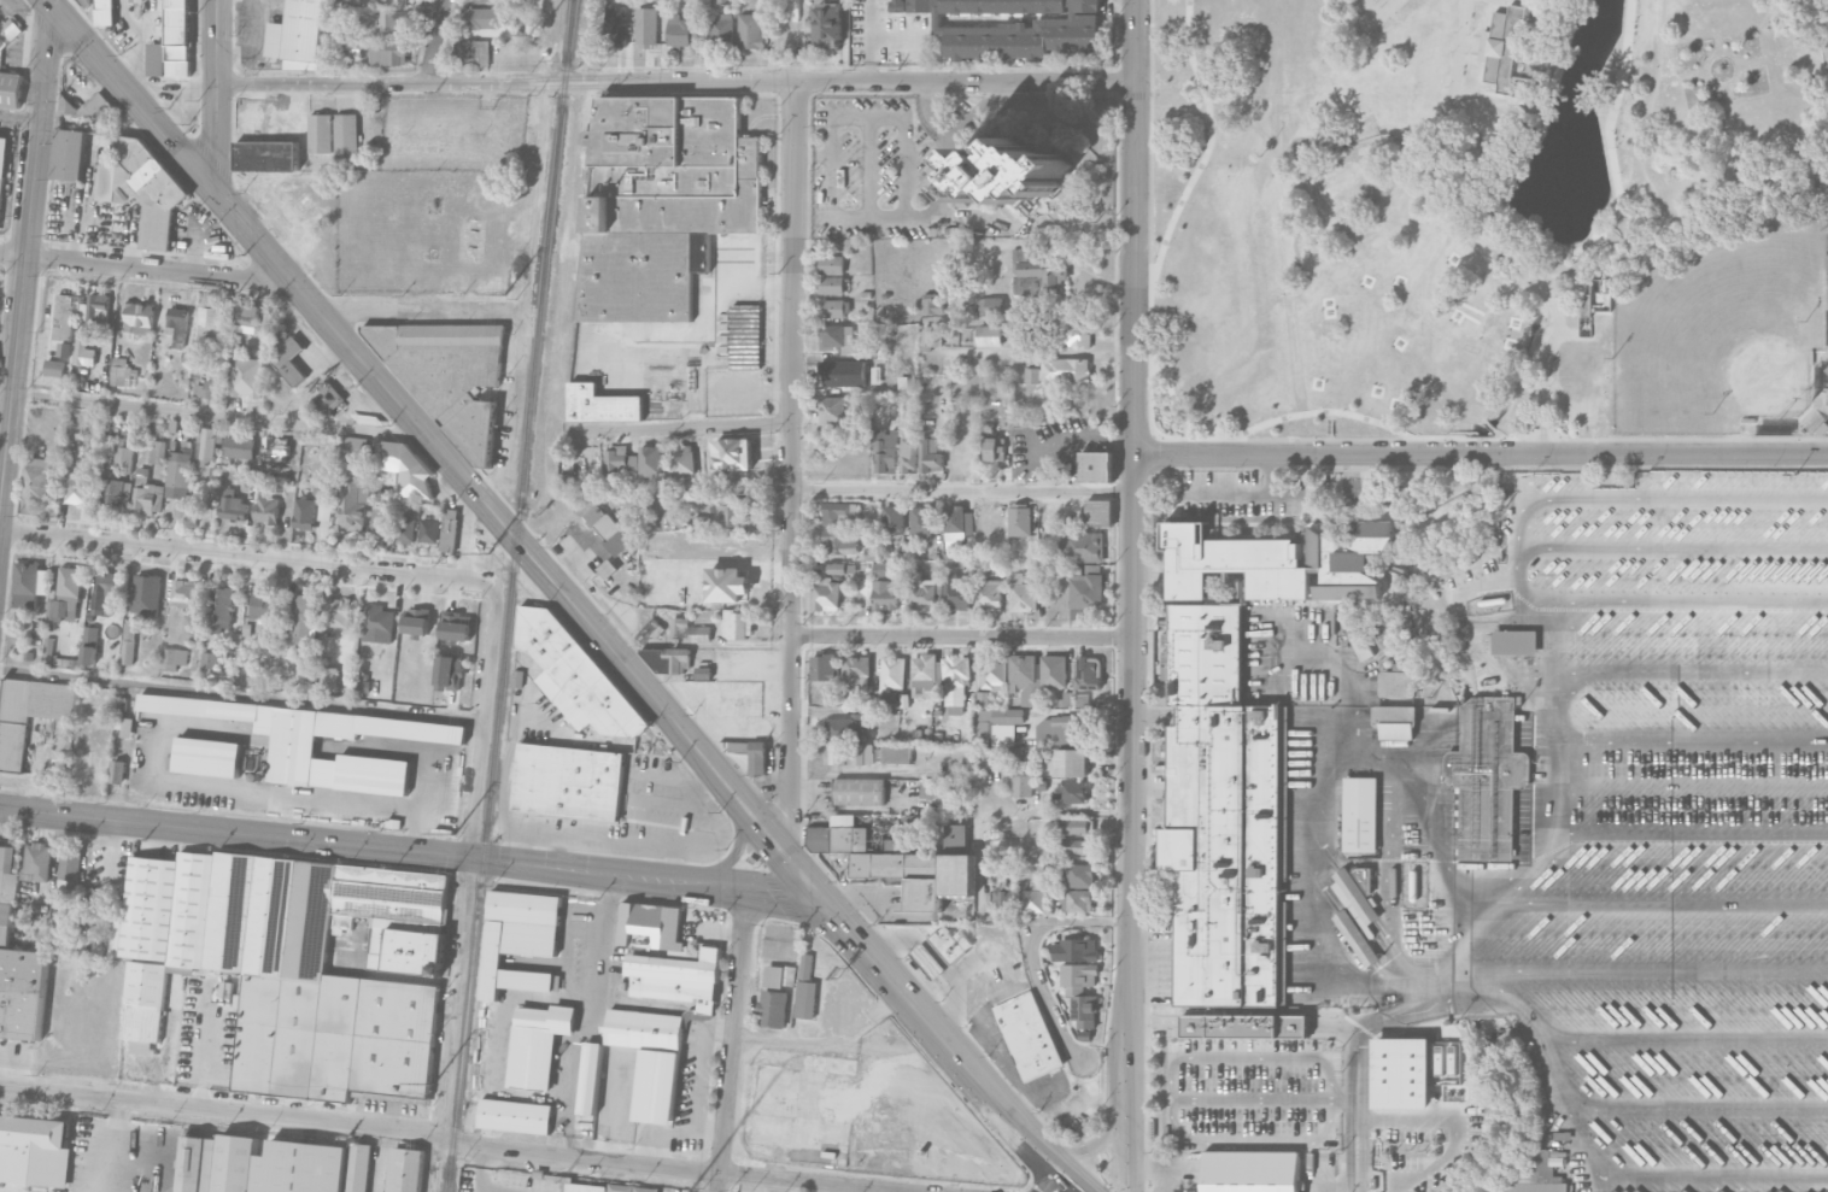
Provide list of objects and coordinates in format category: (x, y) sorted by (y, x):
road: (1530, 0)
building: (86, 2)
building: (137, 2)
traffic signals: (57, 12)
building: (105, 12)
park: (1360, 16)
building: (396, 20)
building: (827, 22)
building: (614, 25)
building: (645, 27)
building: (1013, 27)
building: (720, 29)
building: (678, 31)
building: (749, 31)
building: (475, 33)
power tower: (534, 34)
building: (298, 35)
building: (172, 42)
road: (434, 42)
road: (1472, 43)
road: (58, 47)
building: (351, 47)
building: (1510, 48)
building: (386, 55)
building: (0, 58)
road: (895, 66)
road: (675, 82)
road: (1117, 82)
road: (140, 83)
road: (172, 87)
road: (960, 92)
road: (1132, 94)
road: (129, 95)
road: (216, 95)
building: (93, 105)
road: (19, 119)
building: (321, 134)
building: (346, 136)
road: (954, 136)
road: (197, 141)
road: (1208, 143)
road: (1502, 149)
building: (70, 154)
building: (266, 155)
building: (2, 171)
building: (1012, 172)
road: (831, 174)
road: (1646, 180)
building: (142, 188)
traffic signals: (213, 190)
road: (538, 194)
building: (661, 201)
park: (1490, 217)
road: (1496, 227)
road: (24, 248)
building: (831, 265)
road: (142, 270)
building: (1038, 275)
road: (1557, 276)
building: (831, 286)
road: (1113, 288)
power tower: (503, 293)
building: (931, 304)
building: (1586, 304)
road: (463, 306)
building: (990, 306)
building: (94, 309)
road: (358, 309)
building: (831, 309)
building: (247, 318)
building: (136, 319)
building: (64, 323)
building: (177, 323)
building: (209, 324)
building: (836, 335)
building: (931, 335)
building: (1077, 335)
building: (745, 336)
building: (988, 336)
park: (1728, 336)
building: (83, 351)
road: (1042, 352)
building: (289, 359)
building: (54, 368)
building: (121, 372)
building: (1064, 372)
building: (1032, 375)
building: (838, 376)
building: (247, 377)
building: (450, 377)
building: (210, 391)
road: (5, 393)
building: (328, 397)
building: (1821, 397)
building: (600, 405)
building: (832, 410)
road: (186, 413)
road: (514, 413)
road: (1265, 423)
road: (681, 430)
road: (1273, 439)
building: (207, 442)
building: (239, 446)
building: (125, 448)
building: (275, 448)
building: (353, 450)
building: (994, 450)
building: (886, 451)
building: (157, 452)
building: (930, 453)
building: (732, 454)
building: (908, 456)
road: (1480, 457)
building: (616, 462)
building: (650, 462)
building: (682, 463)
building: (1096, 466)
building: (403, 469)
road: (786, 471)
building: (177, 475)
building: (36, 478)
building: (562, 481)
road: (959, 481)
building: (77, 488)
building: (323, 488)
road: (960, 491)
building: (113, 492)
road: (1252, 494)
building: (147, 495)
building: (353, 505)
building: (233, 506)
building: (266, 510)
building: (734, 512)
building: (1098, 512)
building: (304, 513)
building: (839, 513)
building: (892, 518)
building: (1020, 519)
building: (956, 522)
building: (920, 523)
building: (404, 529)
building: (608, 529)
building: (441, 530)
road: (518, 542)
building: (839, 542)
building: (1082, 547)
power tower: (485, 556)
road: (250, 559)
building: (1279, 562)
building: (839, 569)
building: (880, 569)
building: (29, 585)
building: (726, 585)
building: (1086, 591)
building: (825, 592)
building: (956, 592)
building: (69, 593)
building: (107, 593)
building: (184, 593)
building: (146, 594)
building: (922, 594)
building: (1023, 594)
railway: (510, 595)
building: (885, 595)
building: (989, 595)
road: (1132, 595)
building: (221, 607)
building: (264, 609)
building: (336, 612)
building: (303, 618)
building: (377, 618)
building: (416, 622)
building: (737, 624)
building: (191, 627)
building: (456, 627)
building: (679, 627)
building: (699, 634)
road: (959, 638)
building: (1513, 642)
building: (128, 644)
building: (89, 646)
building: (1361, 646)
building: (172, 658)
building: (667, 659)
building: (209, 663)
building: (822, 668)
building: (994, 671)
building: (1054, 671)
road: (1692, 671)
building: (449, 673)
building: (703, 673)
building: (856, 673)
building: (1088, 673)
building: (574, 675)
building: (924, 675)
building: (892, 677)
building: (1025, 679)
building: (327, 680)
building: (955, 685)
building: (1398, 685)
road: (242, 695)
building: (29, 715)
road: (485, 721)
building: (995, 721)
building: (1060, 730)
building: (1396, 730)
road: (1691, 742)
building: (293, 748)
road: (1554, 750)
building: (896, 754)
building: (207, 757)
building: (1071, 763)
road: (850, 769)
building: (117, 771)
building: (1488, 780)
building: (568, 781)
building: (1021, 782)
building: (936, 788)
building: (859, 792)
building: (1074, 792)
road: (867, 811)
building: (1359, 815)
building: (1223, 818)
power tower: (453, 822)
building: (1073, 827)
road: (1691, 833)
building: (838, 835)
building: (1078, 849)
road: (731, 850)
road: (409, 853)
building: (39, 861)
road: (982, 864)
building: (925, 870)
building: (1080, 876)
road: (106, 879)
building: (1003, 896)
building: (1033, 897)
traffic signals: (819, 900)
building: (1078, 900)
building: (1355, 900)
road: (1662, 900)
road: (1482, 911)
building: (649, 927)
building: (1357, 938)
building: (520, 940)
building: (950, 944)
building: (116, 949)
building: (1076, 950)
building: (928, 962)
building: (18, 965)
building: (294, 967)
road: (1666, 970)
building: (780, 976)
building: (1079, 977)
building: (678, 980)
building: (805, 988)
road: (1044, 994)
road: (1523, 1004)
building: (773, 1009)
building: (1085, 1012)
road: (450, 1024)
building: (1029, 1035)
road: (1683, 1039)
road: (734, 1041)
building: (538, 1044)
road: (798, 1045)
road: (1360, 1045)
road: (945, 1047)
road: (1249, 1056)
building: (651, 1059)
building: (1410, 1071)
building: (590, 1079)
power tower: (430, 1082)
road: (1266, 1100)
road: (1572, 1106)
road: (1700, 1106)
building: (515, 1116)
road: (440, 1135)
road: (1252, 1140)
road: (112, 1146)
building: (34, 1151)
building: (271, 1165)
building: (405, 1170)
road: (1358, 1172)
building: (1252, 1173)
road: (1715, 1180)
road: (1605, 1186)
building: (585, 1188)
building: (632, 1188)
building: (1536, 1188)
road: (1067, 1190)
road: (1, 1191)

